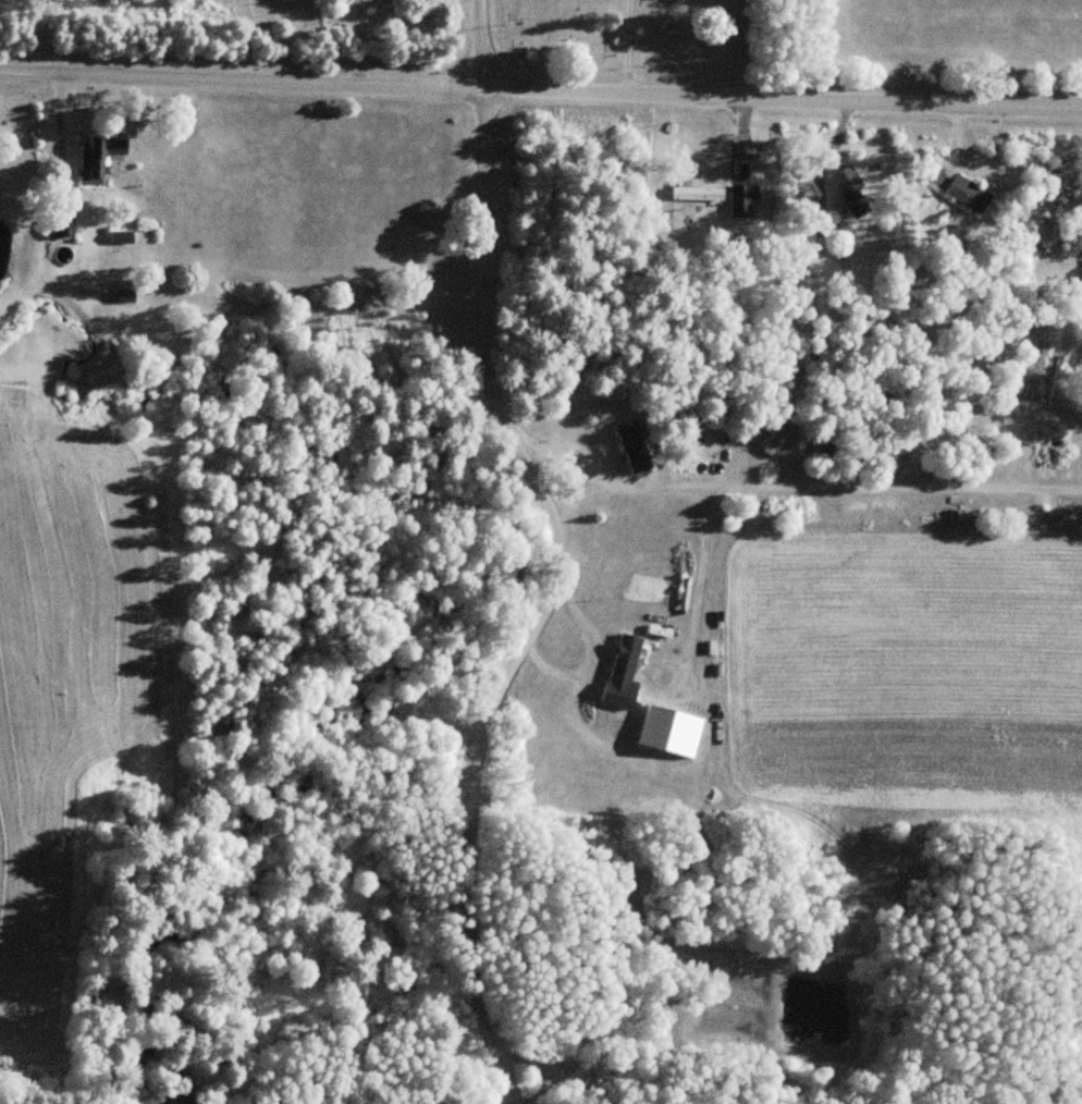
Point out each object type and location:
park: (632, 39)
road: (541, 89)
building: (91, 159)
building: (849, 191)
building: (694, 192)
building: (804, 194)
building: (967, 194)
building: (742, 201)
building: (58, 229)
building: (120, 237)
building: (123, 296)
building: (782, 439)
building: (866, 444)
building: (889, 445)
building: (632, 446)
road: (561, 559)
building: (622, 671)

